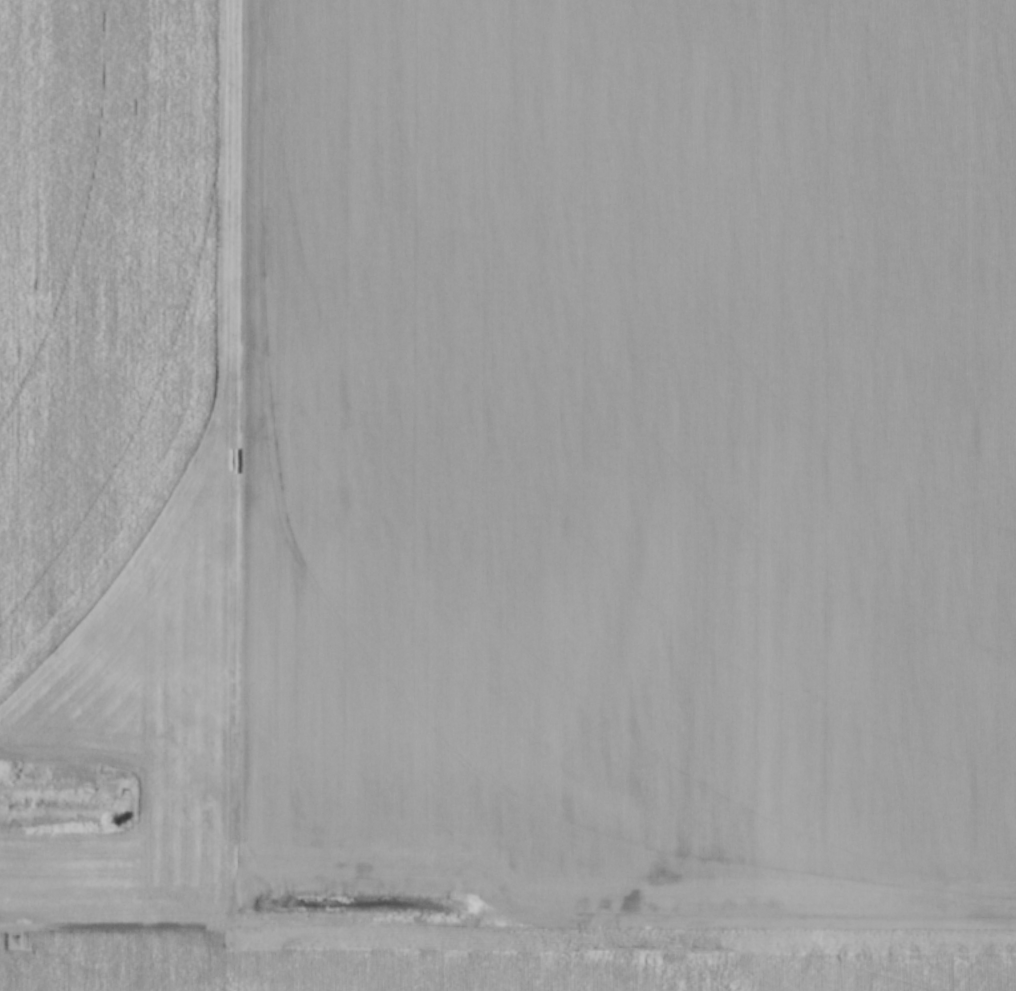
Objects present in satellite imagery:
crop: (508, 495)

